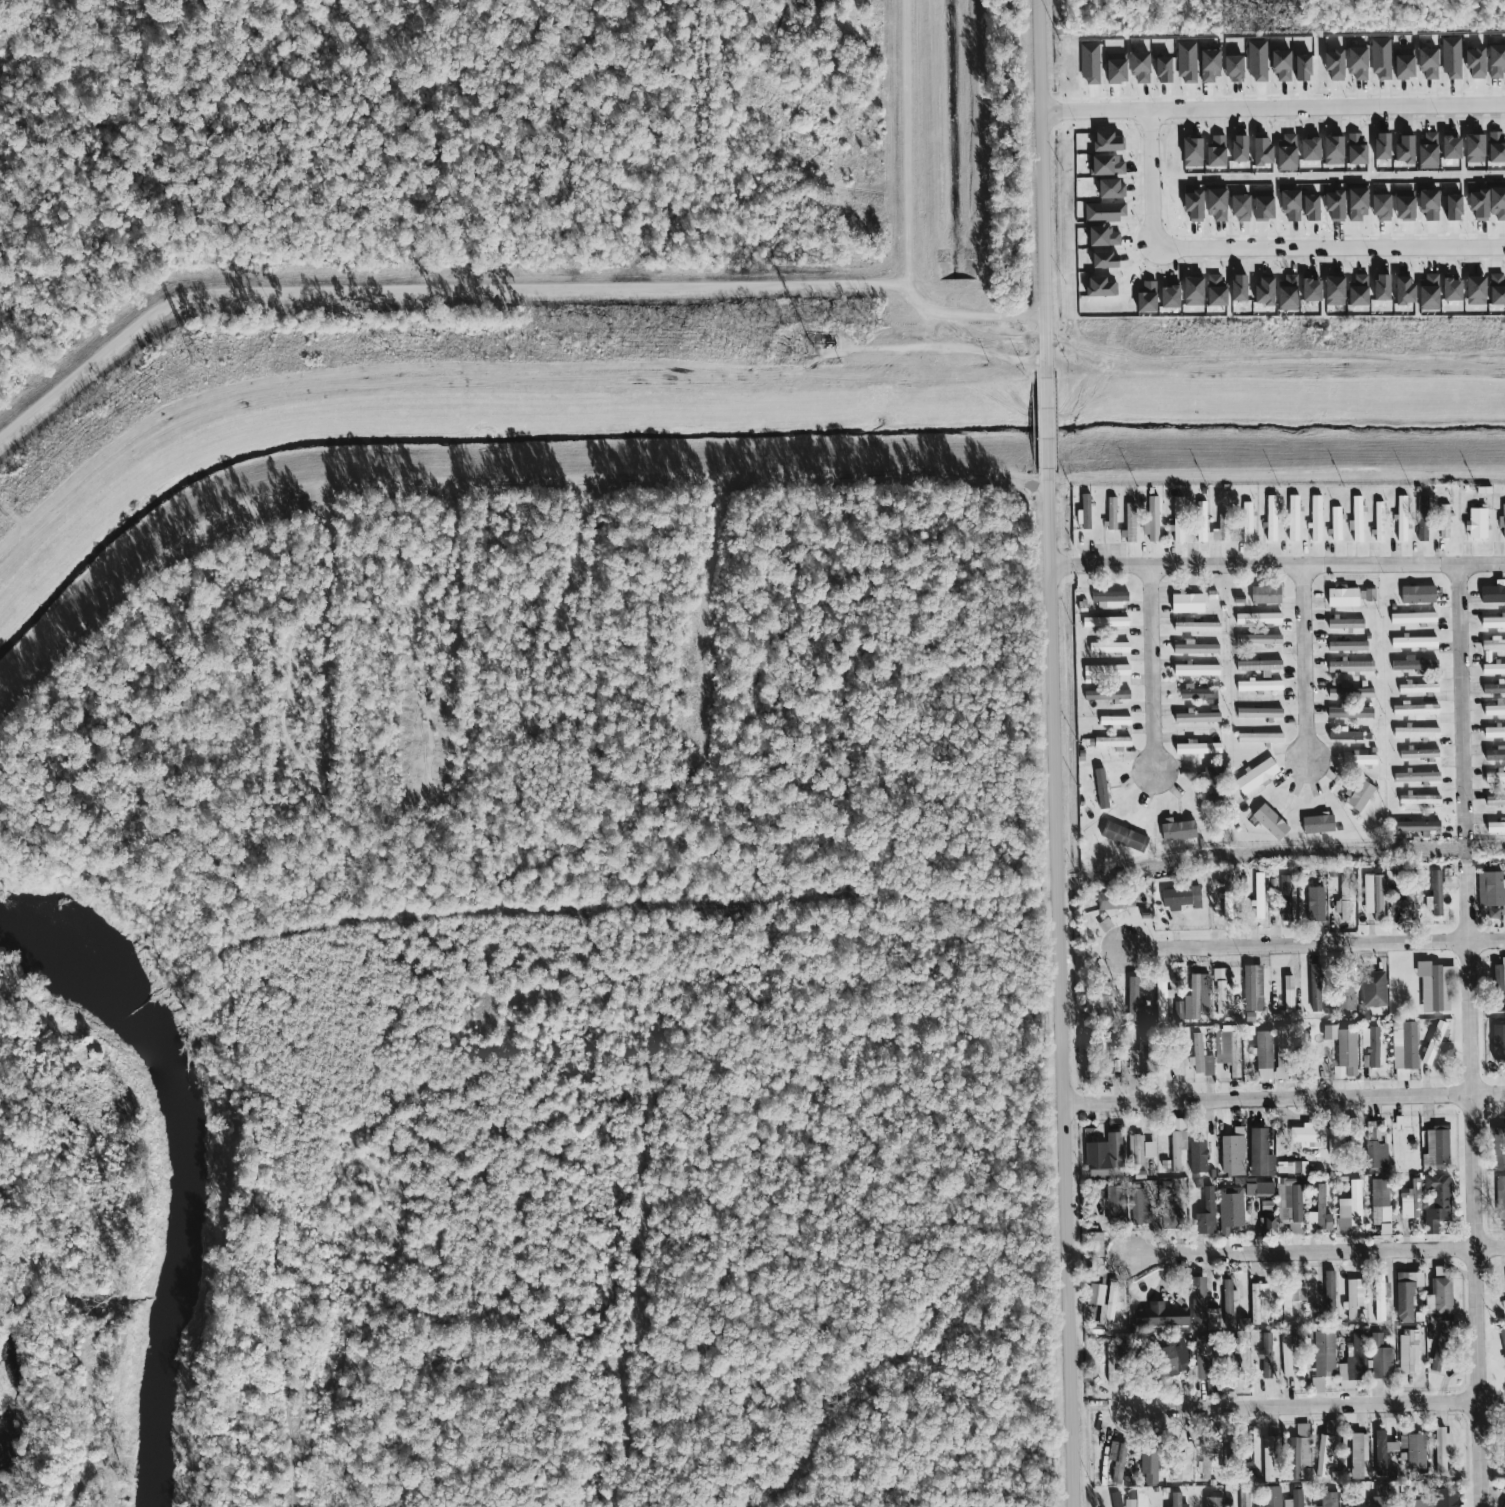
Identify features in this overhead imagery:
building: (1449, 57)
building: (1379, 59)
building: (1495, 60)
building: (1256, 61)
building: (1185, 63)
building: (1355, 63)
building: (1425, 63)
building: (1472, 63)
building: (1088, 64)
building: (1400, 64)
building: (1278, 65)
building: (1331, 65)
building: (1137, 67)
building: (1207, 67)
building: (1230, 68)
building: (1113, 69)
building: (1299, 69)
building: (1160, 71)
road: (1272, 104)
building: (1105, 143)
building: (1471, 146)
building: (1378, 147)
building: (1447, 147)
building: (1494, 148)
road: (910, 149)
building: (1235, 149)
building: (1306, 149)
building: (1353, 149)
building: (1330, 150)
building: (1401, 150)
building: (1258, 152)
building: (1425, 152)
building: (1188, 153)
building: (1213, 153)
building: (1283, 154)
building: (1105, 166)
road: (1152, 172)
road: (1040, 183)
building: (1108, 190)
building: (1495, 203)
building: (1426, 204)
building: (1213, 205)
building: (1288, 205)
building: (1401, 205)
building: (1475, 205)
building: (1189, 206)
building: (1260, 206)
building: (1332, 206)
building: (1354, 206)
building: (1377, 207)
building: (1236, 208)
building: (1450, 208)
building: (1307, 209)
building: (1102, 212)
building: (1100, 237)
road: (1330, 245)
building: (1101, 261)
building: (1097, 288)
building: (1378, 288)
building: (1235, 289)
building: (1448, 289)
building: (1307, 290)
building: (1495, 290)
road: (421, 291)
building: (1212, 291)
building: (1472, 291)
building: (1189, 292)
building: (1331, 292)
building: (1355, 292)
building: (1401, 292)
building: (1260, 293)
building: (1426, 293)
building: (1284, 294)
building: (1166, 298)
building: (1144, 299)
power tower: (1317, 337)
power tower: (812, 344)
power tower: (193, 353)
road: (1046, 423)
river: (715, 432)
road: (609, 475)
building: (1177, 504)
building: (1080, 511)
building: (1109, 512)
road: (724, 516)
building: (1269, 518)
building: (1292, 518)
building: (1314, 518)
building: (1400, 518)
building: (1421, 518)
building: (1150, 520)
building: (1356, 520)
building: (1501, 520)
building: (1199, 521)
building: (1378, 521)
building: (1443, 521)
building: (1128, 522)
building: (1245, 522)
building: (1475, 523)
building: (1335, 524)
building: (1175, 529)
building: (1219, 529)
building: (1079, 537)
road: (466, 548)
road: (1276, 566)
building: (1492, 593)
building: (1263, 594)
building: (1415, 594)
building: (1366, 595)
building: (1340, 597)
building: (1107, 599)
building: (1185, 603)
building: (1079, 605)
building: (1256, 618)
building: (1410, 618)
building: (1103, 622)
building: (1492, 622)
building: (1343, 624)
building: (1194, 626)
building: (1257, 640)
building: (1411, 642)
building: (1492, 644)
building: (1345, 646)
building: (1106, 647)
building: (1194, 648)
road: (1306, 664)
building: (1412, 664)
building: (1258, 666)
building: (1348, 666)
road: (1151, 669)
building: (1492, 669)
building: (1104, 670)
building: (1194, 670)
building: (1258, 686)
building: (1416, 688)
building: (1492, 688)
building: (1192, 692)
building: (1104, 695)
road: (1460, 698)
road: (589, 707)
building: (1494, 708)
building: (1413, 710)
building: (1347, 712)
road: (718, 713)
building: (1257, 713)
building: (1195, 717)
building: (1112, 721)
road: (602, 731)
building: (1414, 732)
building: (1493, 732)
building: (1341, 734)
building: (1258, 738)
building: (1110, 743)
building: (1195, 748)
building: (1417, 753)
building: (1494, 754)
building: (1358, 760)
building: (1254, 776)
building: (1414, 777)
building: (1493, 777)
building: (1098, 789)
road: (431, 794)
building: (1358, 795)
building: (1416, 799)
building: (1494, 801)
road: (316, 802)
building: (1268, 822)
building: (1316, 824)
building: (1414, 826)
building: (1494, 827)
building: (1175, 831)
building: (1121, 836)
building: (1489, 890)
building: (1434, 893)
building: (1371, 895)
building: (1258, 896)
building: (1178, 898)
building: (1284, 898)
building: (1342, 899)
building: (1114, 900)
building: (1313, 904)
building: (1398, 906)
building: (1102, 925)
road: (1313, 945)
building: (1274, 984)
building: (1432, 986)
building: (1251, 988)
building: (1313, 988)
building: (1496, 988)
building: (1371, 989)
building: (1100, 990)
building: (1220, 991)
road: (1060, 993)
building: (1287, 994)
building: (1344, 994)
building: (1131, 1000)
building: (1160, 1000)
building: (1192, 1000)
building: (1280, 1040)
building: (1432, 1043)
building: (1497, 1043)
building: (1403, 1045)
building: (1223, 1047)
building: (1370, 1047)
building: (1262, 1050)
building: (1341, 1051)
building: (1106, 1052)
building: (1198, 1057)
building: (1130, 1062)
road: (1283, 1097)
building: (1174, 1124)
building: (1306, 1135)
building: (1373, 1148)
building: (1435, 1148)
building: (1497, 1148)
building: (1175, 1149)
building: (1137, 1150)
building: (1230, 1153)
building: (1258, 1154)
building: (1103, 1155)
building: (1195, 1157)
river: (182, 1165)
road: (1473, 1187)
building: (1256, 1188)
building: (1499, 1197)
building: (1409, 1201)
building: (1436, 1202)
building: (1136, 1204)
building: (1111, 1205)
building: (1379, 1205)
building: (1350, 1206)
building: (1228, 1210)
building: (1318, 1212)
building: (1167, 1213)
building: (1204, 1214)
building: (1264, 1225)
road: (93, 1234)
building: (1094, 1245)
road: (1317, 1251)
building: (1327, 1294)
building: (1404, 1295)
building: (1353, 1297)
building: (1378, 1298)
building: (1437, 1298)
building: (1255, 1301)
building: (1290, 1301)
building: (1102, 1302)
building: (1226, 1305)
building: (1502, 1305)
building: (1201, 1306)
building: (1158, 1316)
building: (1242, 1323)
building: (1503, 1347)
building: (1407, 1350)
building: (1379, 1353)
building: (1264, 1355)
building: (1285, 1356)
building: (1173, 1357)
building: (1320, 1358)
building: (1203, 1363)
road: (1320, 1405)
building: (1412, 1445)
building: (1326, 1448)
building: (1441, 1449)
building: (1504, 1449)
building: (1297, 1452)
building: (1381, 1452)
building: (1357, 1454)
building: (1269, 1459)
building: (1115, 1461)
building: (1174, 1463)
building: (1146, 1466)
building: (1270, 1496)
building: (1357, 1497)
building: (1113, 1499)
building: (1243, 1499)
building: (1293, 1499)
building: (1327, 1499)
building: (1447, 1499)
building: (1175, 1500)
building: (1211, 1502)
building: (1383, 1502)
building: (1413, 1503)
building: (1502, 1504)

